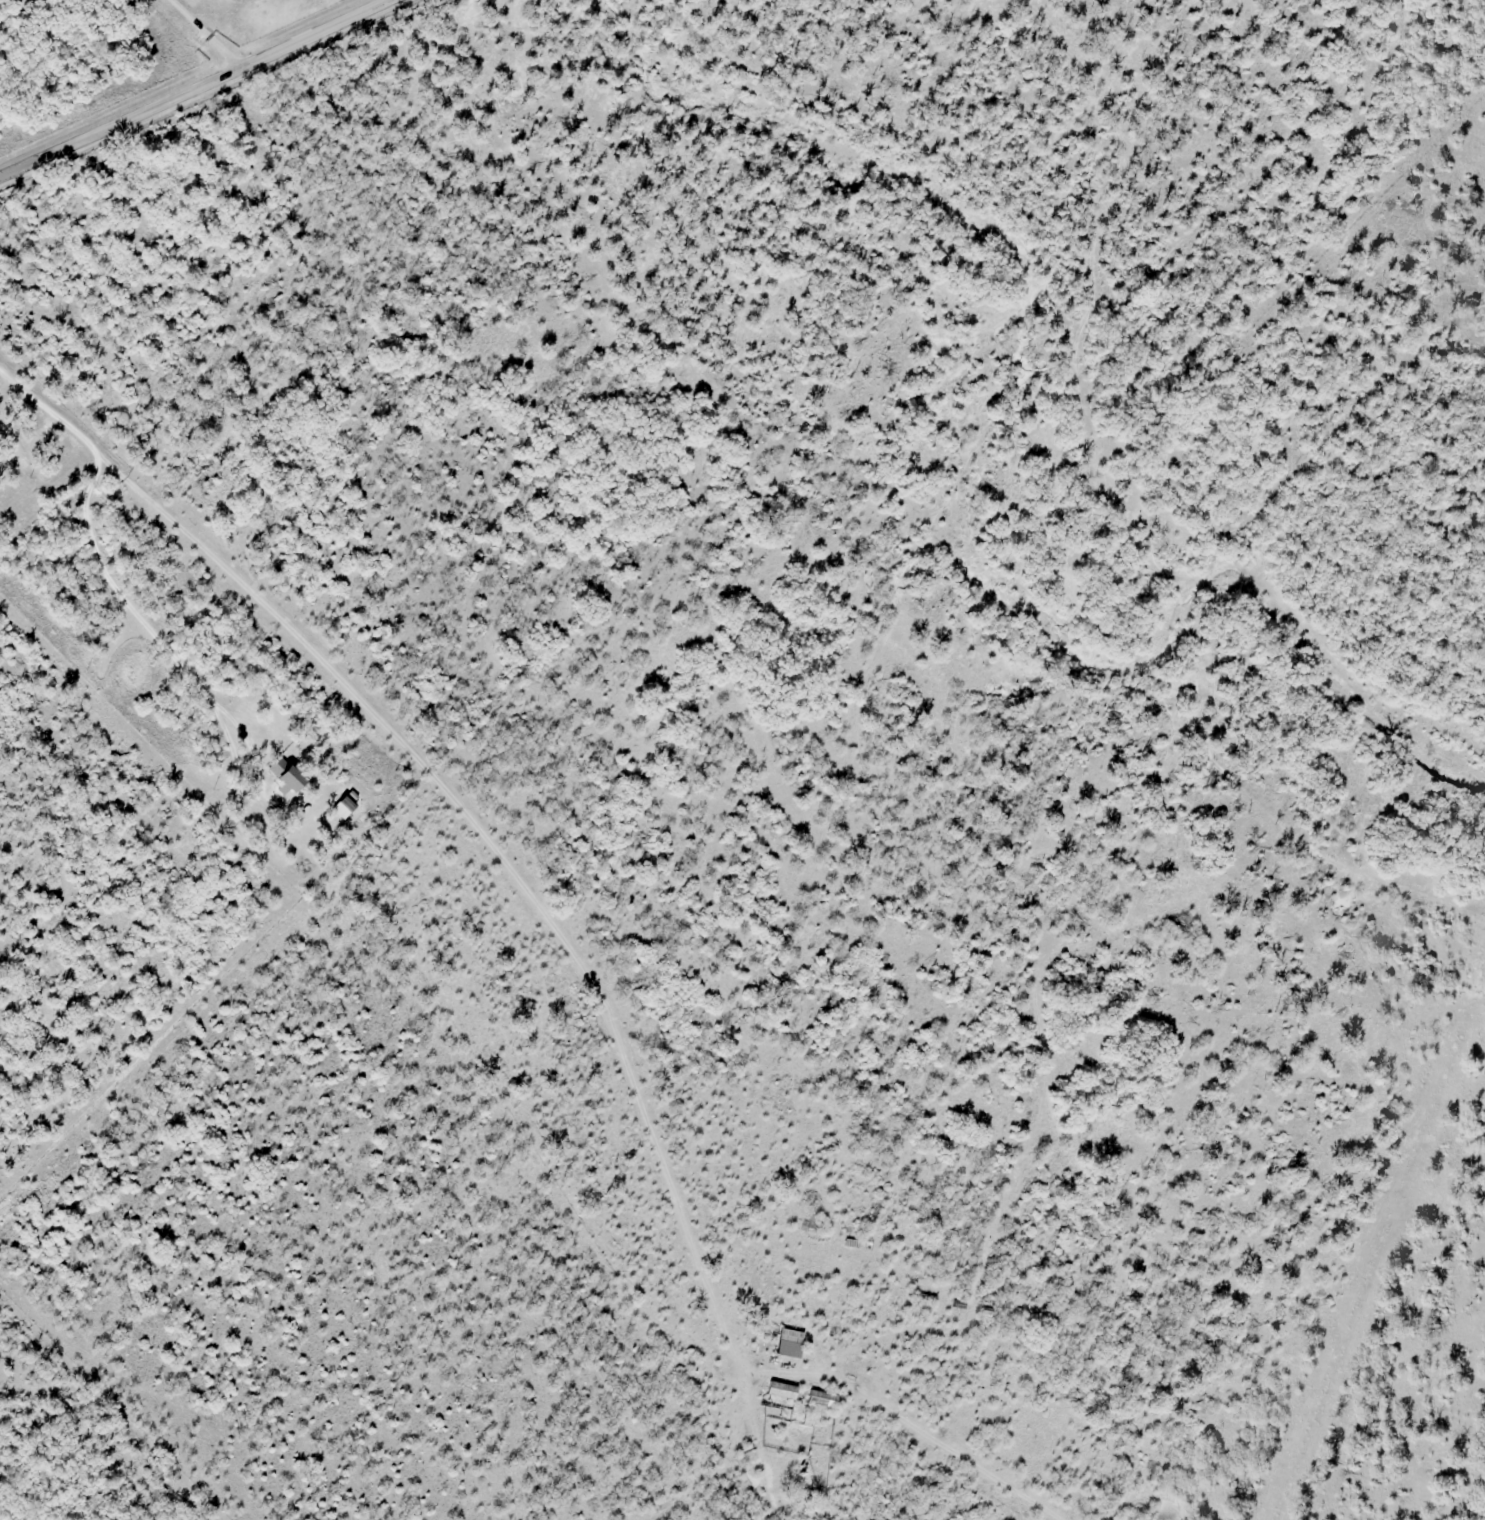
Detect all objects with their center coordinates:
road: (213, 30)
road: (191, 88)
building: (170, 588)
building: (288, 777)
building: (345, 806)
road: (565, 944)
building: (790, 1343)
building: (782, 1390)
building: (823, 1399)

